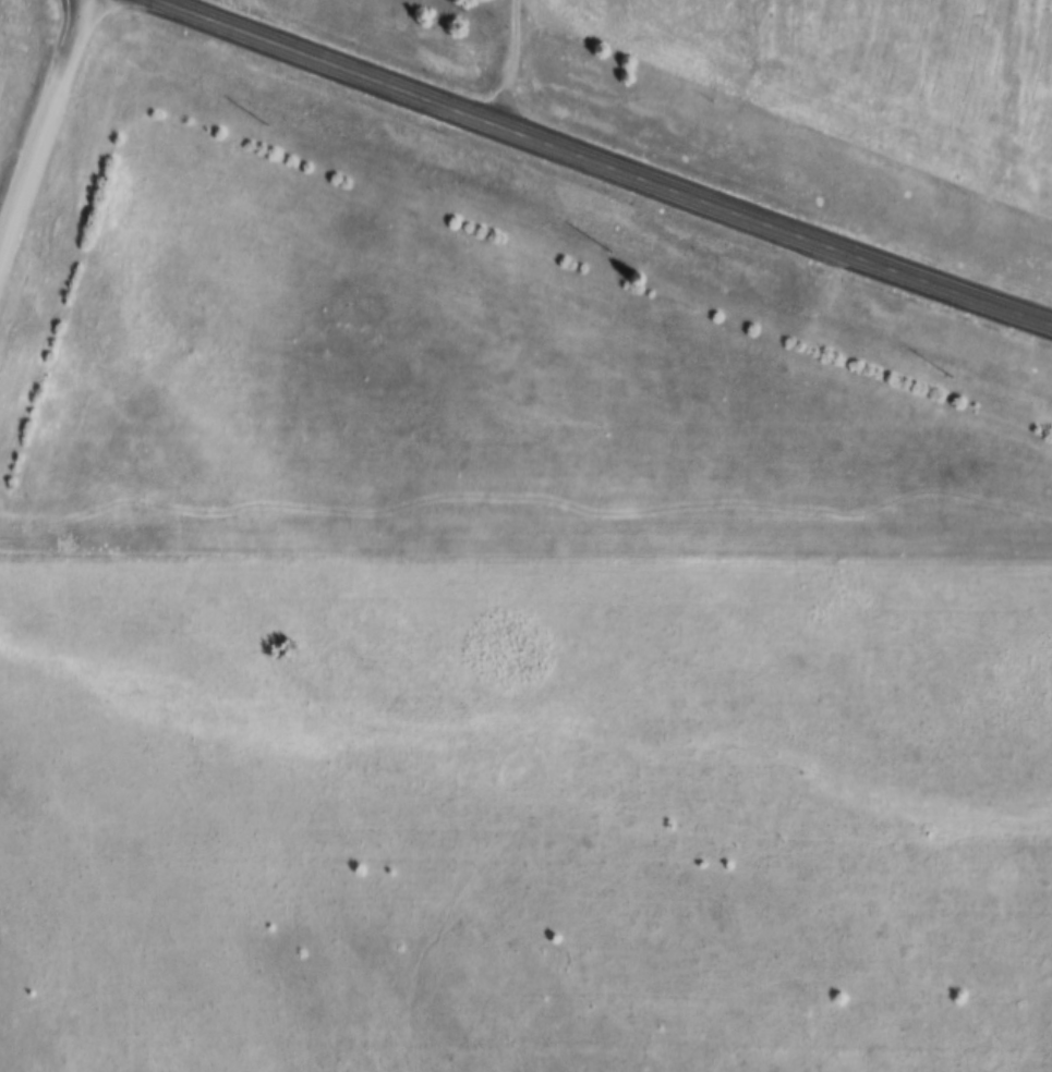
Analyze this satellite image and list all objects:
road: (43, 123)
road: (613, 158)

